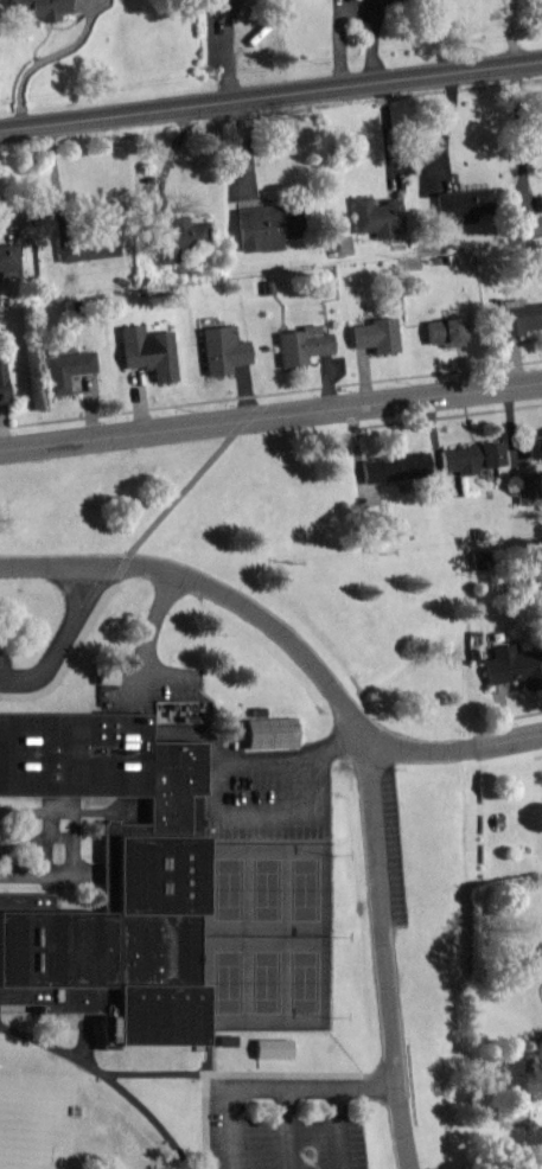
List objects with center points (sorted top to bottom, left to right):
building: (221, 6)
building: (39, 8)
road: (270, 89)
building: (540, 203)
building: (461, 204)
building: (375, 216)
building: (262, 226)
building: (524, 228)
building: (178, 238)
building: (85, 245)
building: (26, 254)
building: (7, 257)
building: (517, 317)
building: (444, 332)
building: (374, 336)
building: (300, 345)
building: (221, 350)
building: (146, 351)
building: (64, 368)
building: (0, 387)
road: (270, 416)
building: (540, 443)
building: (467, 458)
building: (393, 467)
building: (525, 488)
road: (179, 490)
road: (151, 631)
road: (66, 640)
building: (512, 666)
road: (200, 694)
building: (268, 729)
road: (363, 737)
road: (455, 746)
road: (272, 758)
road: (302, 804)
building: (108, 882)
park: (266, 932)
building: (270, 1049)
road: (110, 1077)
road: (279, 1087)
road: (286, 1128)
road: (340, 1128)

